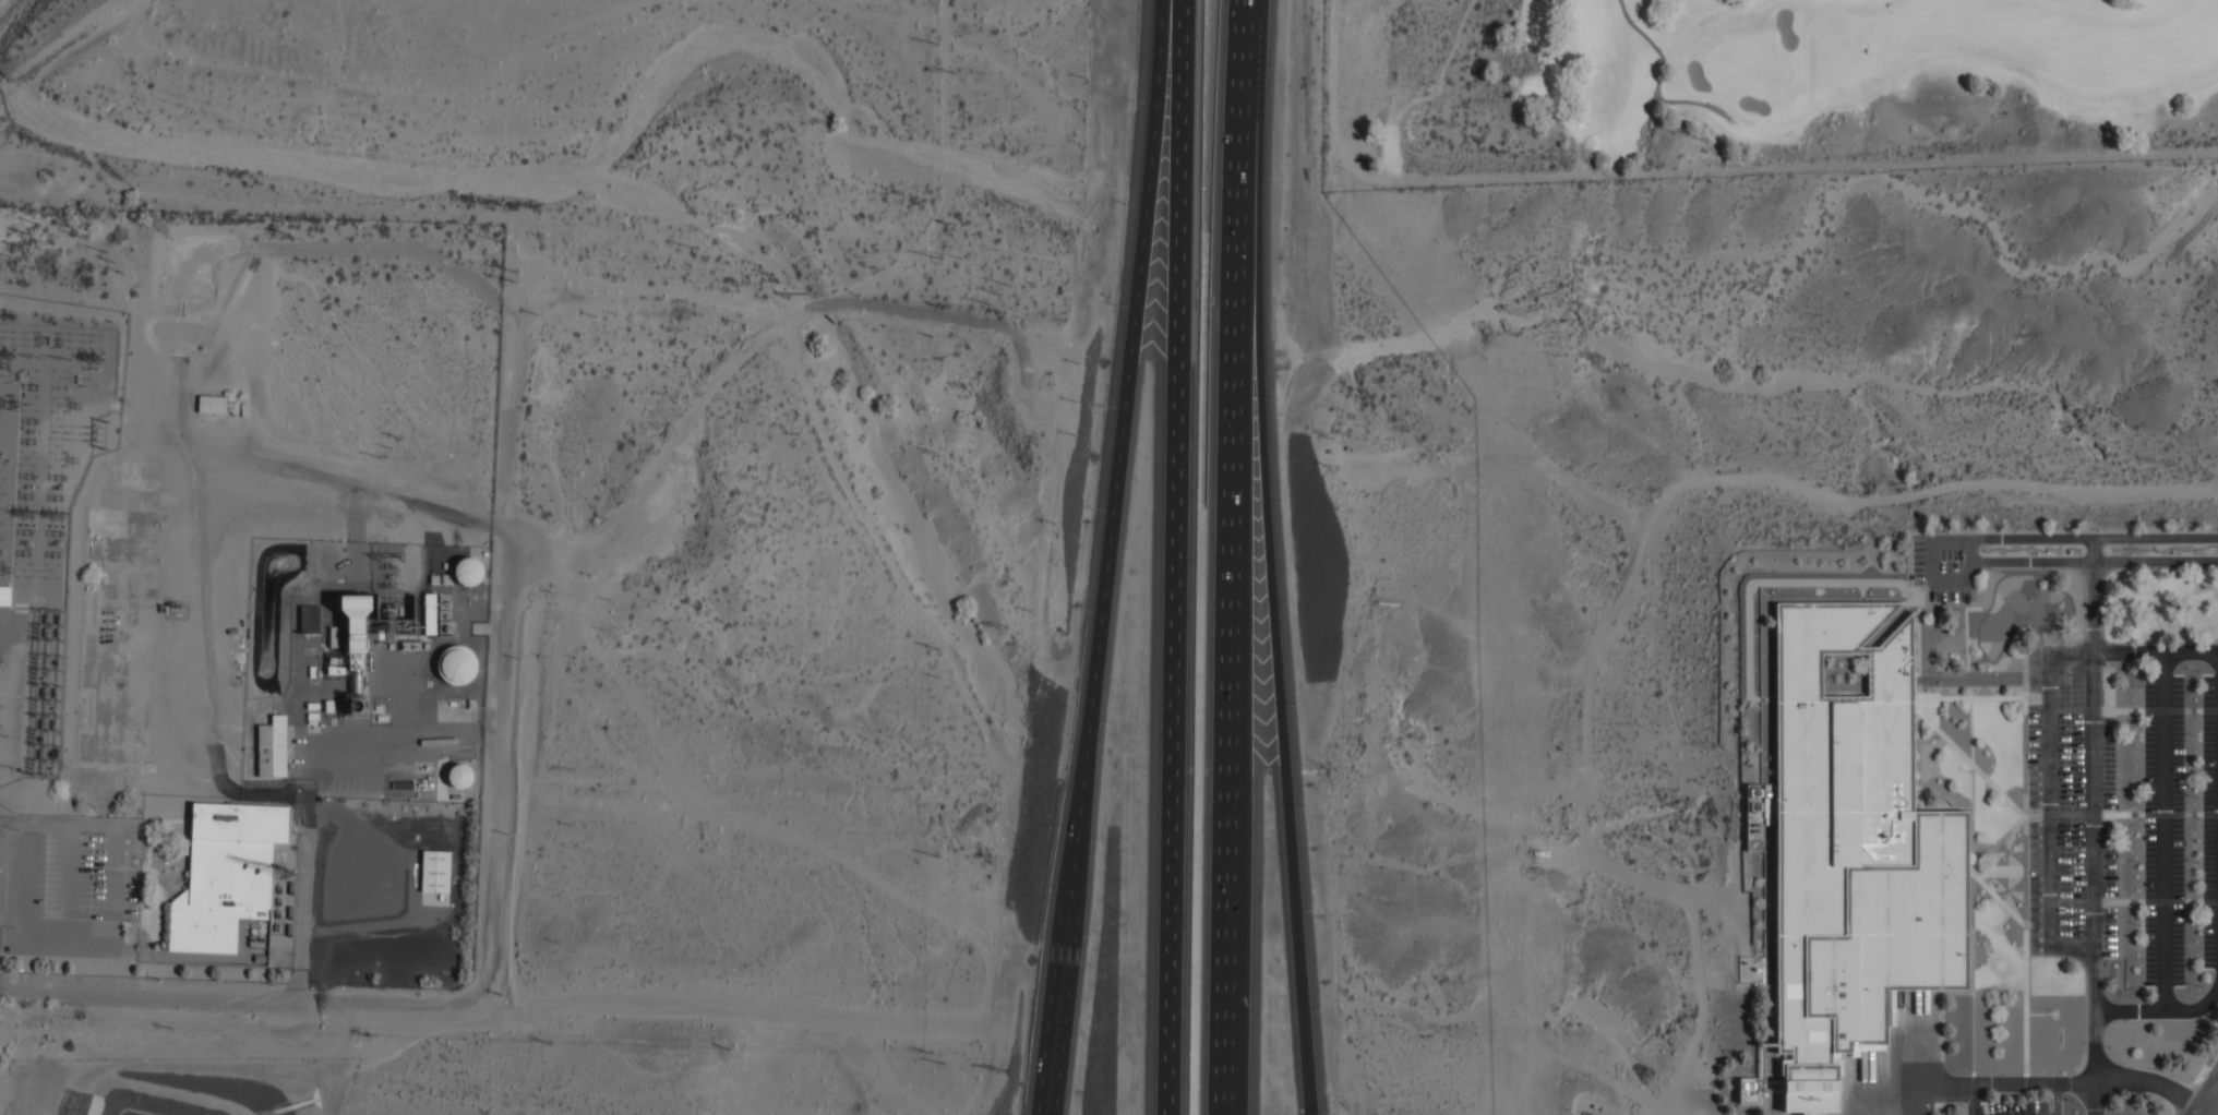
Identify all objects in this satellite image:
road: (1660, 79)
park: (1757, 86)
power tower: (32, 241)
power tower: (2, 349)
power tower: (26, 352)
building: (212, 404)
road: (1235, 416)
power substation: (46, 495)
road: (2094, 537)
road: (1951, 539)
road: (1107, 556)
road: (1165, 557)
road: (1932, 559)
road: (2085, 563)
parking lot: (1946, 564)
road: (1970, 568)
building: (469, 571)
storage tank: (469, 571)
road: (1949, 578)
building: (4, 592)
building: (431, 613)
building: (310, 619)
road: (2127, 651)
road: (1275, 652)
building: (457, 663)
storage tank: (457, 663)
power plant: (363, 668)
chimney: (360, 708)
road: (2064, 709)
building: (273, 746)
building: (460, 776)
storage tank: (460, 776)
road: (2039, 814)
road: (2051, 819)
parking lot: (2126, 823)
road: (2094, 826)
road: (2165, 830)
road: (1973, 842)
building: (1853, 850)
road: (2025, 860)
road: (1980, 861)
building: (227, 873)
building: (436, 880)
road: (304, 885)
road: (1999, 896)
road: (2121, 900)
road: (1225, 973)
road: (148, 996)
road: (2160, 1009)
road: (2067, 1080)
road: (2197, 1083)
building: (1749, 1090)
road: (2206, 1095)
road: (1884, 1096)
road: (1973, 1098)
parking lot: (2035, 1104)

